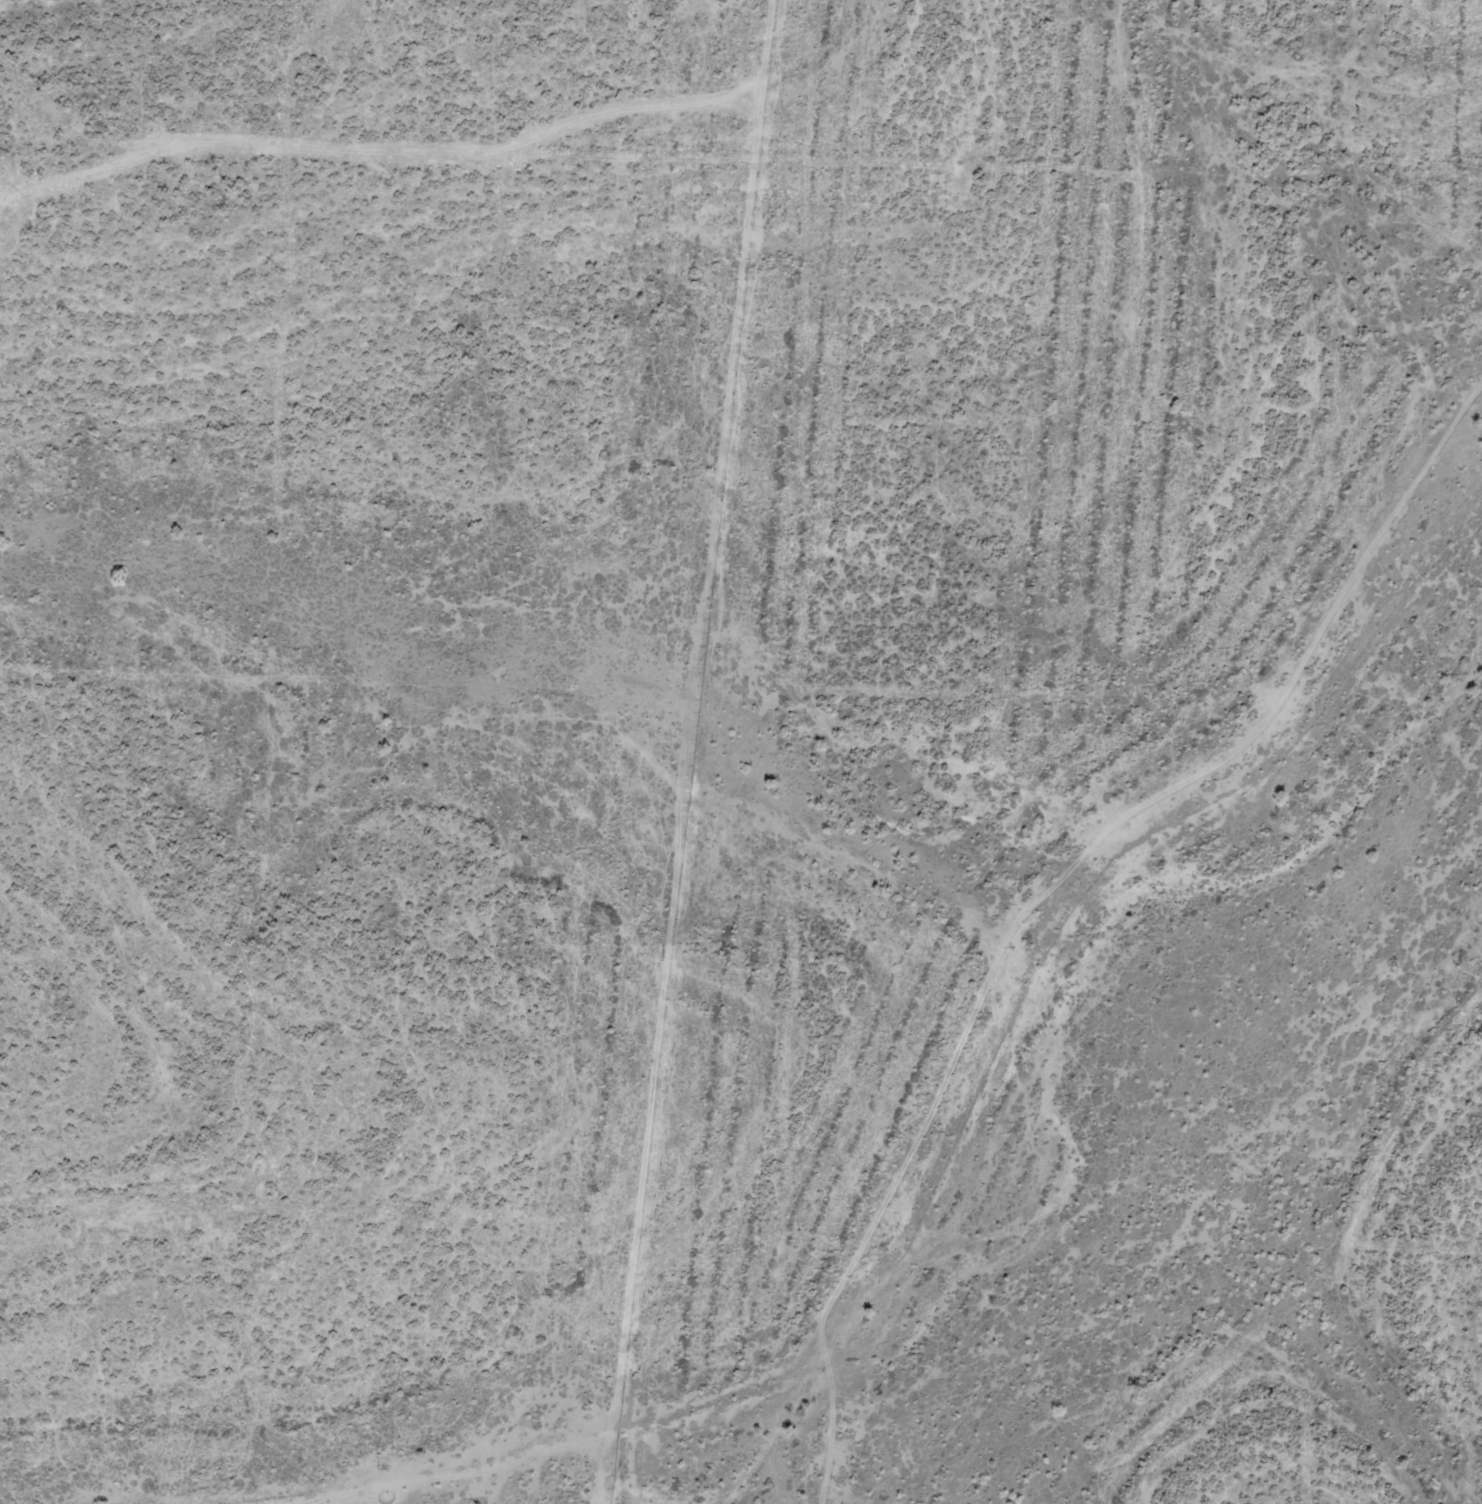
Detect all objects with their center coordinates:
road: (1303, 639)
road: (1091, 788)

